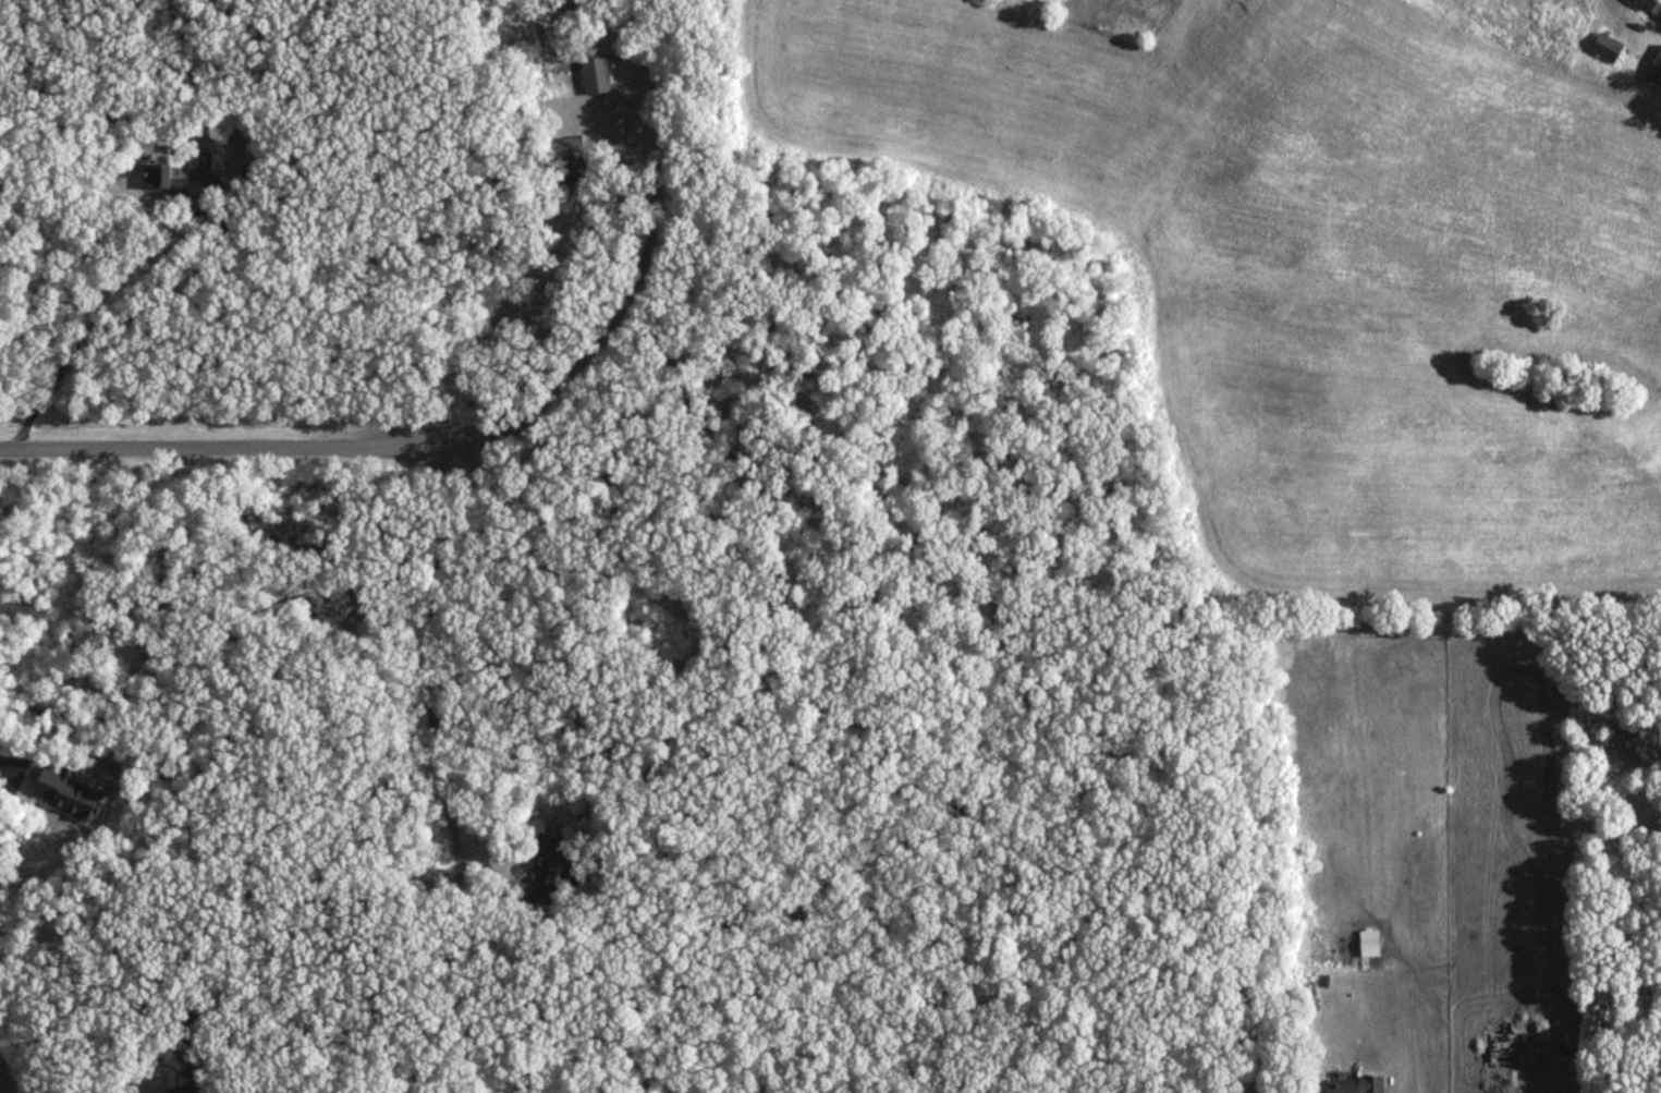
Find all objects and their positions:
building: (1650, 7)
building: (1654, 70)
building: (594, 74)
building: (573, 167)
building: (164, 183)
road: (137, 307)
road: (615, 312)
road: (222, 447)
road: (430, 684)
road: (8, 766)
building: (66, 794)
building: (548, 874)
building: (1367, 939)
road: (117, 1052)
building: (1353, 1085)
road: (1, 1088)
building: (172, 1091)

